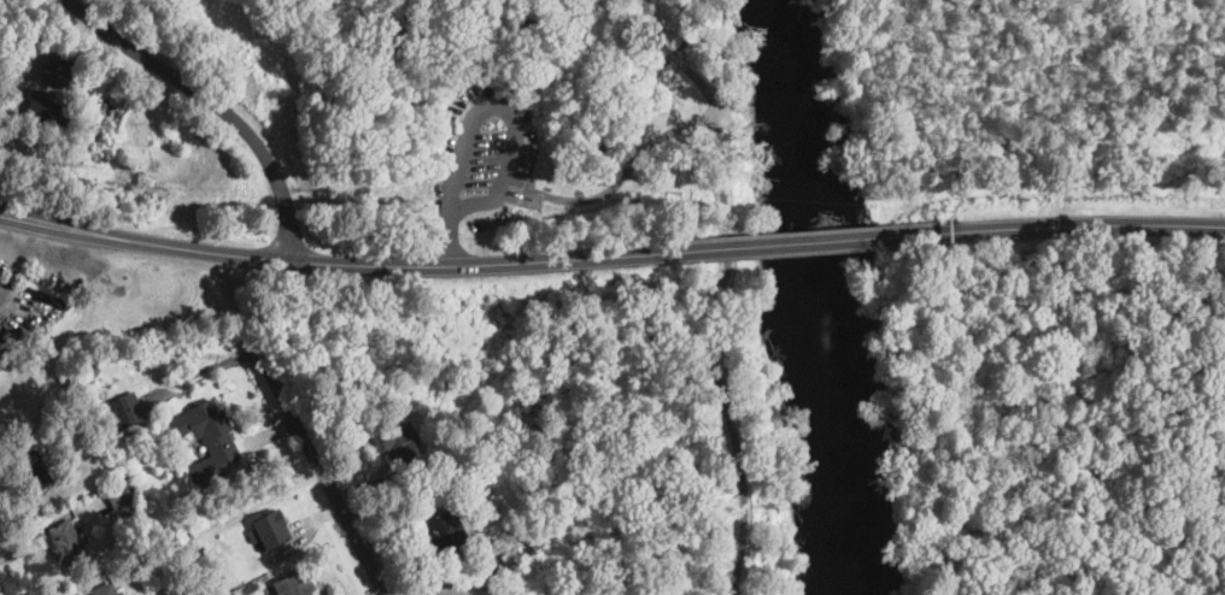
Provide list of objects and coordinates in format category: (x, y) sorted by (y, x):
road: (647, 8)
road: (661, 43)
building: (53, 73)
building: (69, 83)
road: (213, 102)
building: (42, 107)
road: (509, 123)
building: (96, 152)
parking lot: (483, 153)
road: (621, 177)
road: (439, 225)
road: (1082, 225)
road: (13, 231)
road: (803, 240)
road: (332, 259)
river: (819, 297)
road: (709, 324)
building: (95, 369)
building: (124, 411)
building: (210, 438)
building: (402, 446)
building: (35, 470)
road: (321, 472)
building: (118, 495)
building: (270, 529)
building: (444, 531)
building: (182, 538)
building: (68, 547)
building: (200, 556)
building: (493, 566)
building: (294, 584)
building: (252, 585)
building: (105, 589)
building: (240, 591)
building: (123, 594)

